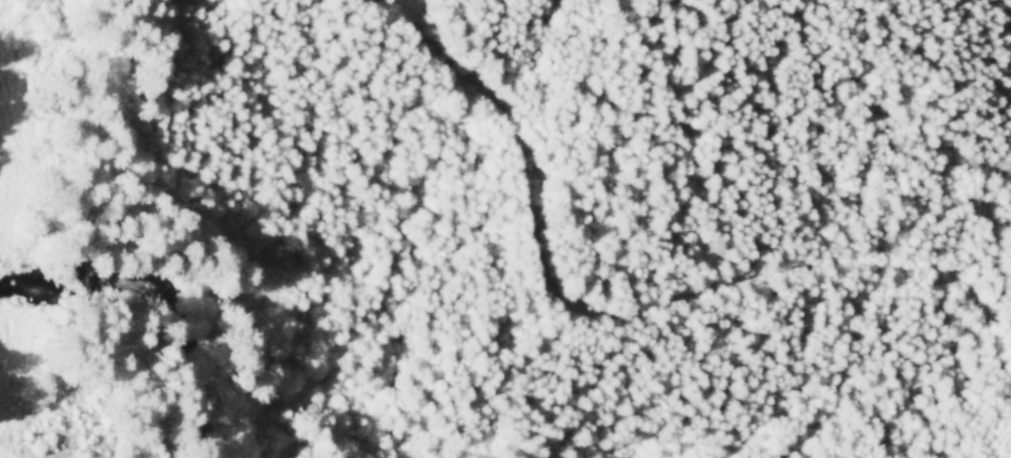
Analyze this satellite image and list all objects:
river: (24, 23)
road: (646, 308)
river: (222, 317)
road: (4, 345)
road: (4, 385)

